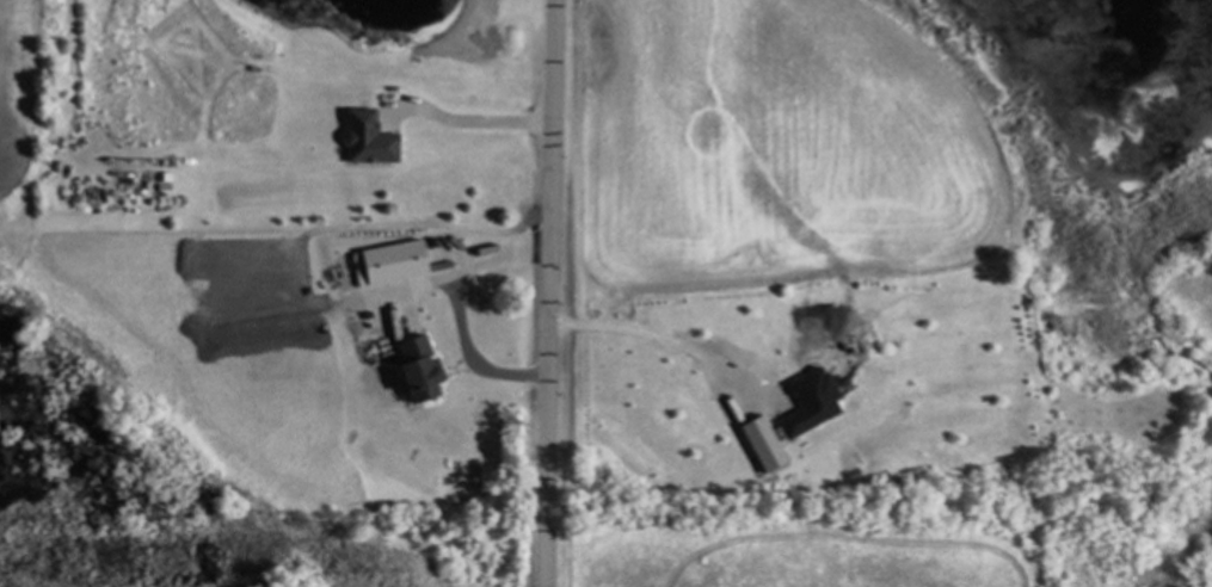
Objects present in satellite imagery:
road: (465, 125)
building: (362, 138)
building: (386, 260)
road: (465, 262)
road: (553, 292)
road: (664, 339)
building: (412, 366)
building: (805, 401)
building: (757, 441)

